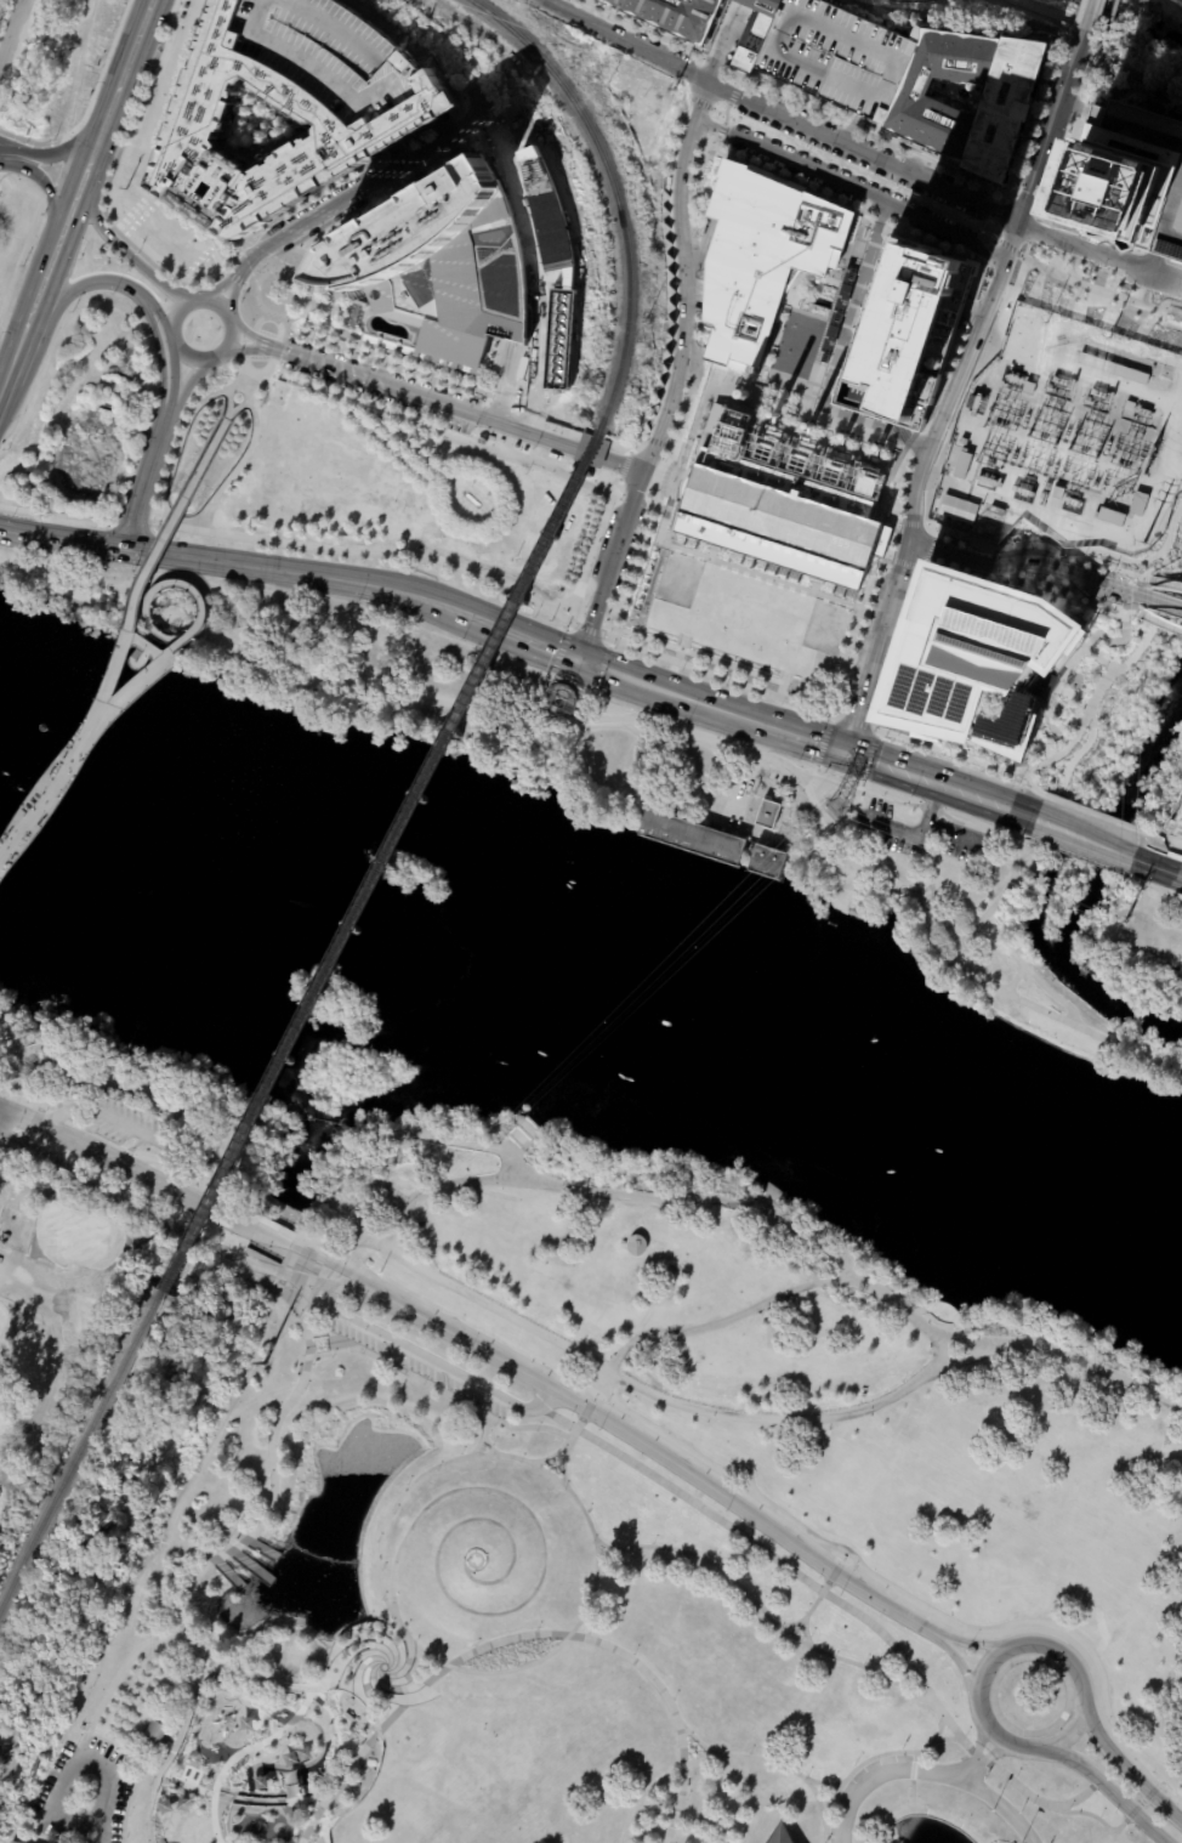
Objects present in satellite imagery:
building: (1178, 2)
road: (1032, 13)
road: (1076, 13)
road: (951, 15)
road: (1086, 15)
building: (669, 16)
road: (1106, 24)
road: (11, 28)
building: (750, 30)
road: (1070, 33)
road: (1104, 34)
road: (1067, 38)
road: (723, 46)
building: (836, 55)
parking lot: (836, 55)
road: (1104, 57)
road: (91, 66)
road: (114, 69)
road: (1127, 70)
road: (436, 73)
road: (101, 74)
building: (433, 74)
road: (441, 75)
road: (740, 81)
power tower: (672, 89)
road: (1061, 89)
road: (125, 96)
road: (733, 96)
road: (792, 96)
road: (691, 100)
road: (70, 101)
road: (701, 101)
road: (700, 103)
building: (921, 104)
road: (1073, 104)
parking lot: (785, 107)
road: (455, 110)
road: (721, 113)
road: (778, 114)
road: (1033, 115)
road: (726, 119)
building: (370, 120)
road: (438, 121)
road: (493, 126)
road: (849, 129)
road: (721, 130)
road: (416, 136)
road: (1067, 136)
road: (450, 140)
road: (717, 142)
road: (394, 149)
road: (705, 149)
road: (52, 155)
road: (784, 157)
road: (6, 159)
parking lot: (858, 161)
parking lot: (913, 163)
road: (436, 165)
road: (720, 165)
road: (405, 166)
parking lot: (792, 170)
road: (126, 176)
parking lot: (849, 176)
park: (5, 178)
road: (670, 181)
building: (1113, 181)
road: (409, 182)
road: (69, 183)
road: (397, 185)
road: (44, 187)
railway: (613, 192)
road: (354, 193)
road: (1006, 194)
building: (1169, 195)
road: (1002, 199)
road: (1024, 199)
road: (1021, 205)
road: (1040, 209)
road: (176, 211)
road: (882, 211)
road: (998, 212)
road: (869, 221)
road: (877, 223)
road: (939, 226)
road: (886, 227)
road: (527, 231)
park: (175, 232)
parking lot: (931, 232)
power tower: (983, 232)
road: (1034, 232)
road: (991, 236)
road: (318, 238)
road: (220, 239)
road: (995, 239)
road: (704, 244)
road: (1004, 244)
road: (1084, 249)
road: (1012, 250)
road: (1081, 253)
road: (987, 254)
road: (153, 256)
building: (761, 256)
road: (64, 259)
road: (130, 259)
building: (553, 259)
road: (1157, 261)
road: (1076, 267)
building: (434, 268)
road: (223, 271)
street lamp: (1040, 277)
building: (790, 278)
road: (235, 279)
road: (974, 279)
road: (1073, 279)
road: (1150, 280)
road: (29, 285)
road: (123, 285)
road: (1086, 288)
road: (217, 290)
road: (1146, 295)
road: (694, 296)
road: (795, 296)
road: (684, 297)
road: (62, 299)
road: (229, 299)
road: (1167, 302)
road: (1143, 304)
road: (250, 306)
road: (966, 306)
road: (779, 308)
road: (973, 310)
road: (860, 311)
road: (1170, 311)
road: (803, 313)
road: (160, 317)
building: (834, 317)
power tower: (1046, 322)
road: (1165, 324)
road: (268, 327)
building: (905, 331)
road: (245, 333)
road: (29, 335)
road: (772, 336)
power tower: (1108, 339)
road: (989, 341)
road: (262, 345)
road: (840, 346)
road: (239, 350)
road: (970, 355)
road: (379, 357)
parking lot: (275, 358)
road: (201, 362)
road: (257, 362)
road: (158, 364)
road: (534, 364)
road: (712, 365)
road: (718, 365)
road: (8, 369)
parking lot: (376, 369)
building: (1114, 369)
road: (758, 370)
road: (734, 373)
road: (944, 374)
road: (172, 375)
road: (1092, 375)
road: (722, 376)
road: (756, 376)
road: (248, 378)
road: (785, 380)
road: (504, 381)
road: (758, 381)
road: (188, 382)
road: (765, 384)
building: (1029, 389)
chimney: (744, 395)
road: (773, 397)
parking lot: (385, 398)
road: (485, 399)
road: (244, 401)
road: (487, 403)
road: (755, 404)
building: (1131, 406)
road: (453, 407)
road: (500, 407)
road: (801, 407)
road: (749, 412)
chimney: (774, 414)
road: (227, 415)
road: (169, 416)
road: (481, 416)
park: (100, 418)
road: (695, 419)
road: (705, 423)
road: (795, 425)
chimney: (809, 426)
road: (898, 426)
road: (434, 427)
road: (411, 431)
road: (477, 433)
building: (482, 435)
road: (825, 436)
road: (908, 436)
road: (579, 437)
chimney: (843, 437)
power substation: (1065, 438)
railway: (910, 440)
road: (408, 441)
road: (655, 442)
road: (437, 446)
road: (177, 447)
road: (669, 447)
road: (811, 447)
chimney: (876, 448)
road: (629, 452)
road: (155, 457)
road: (890, 457)
road: (677, 458)
building: (962, 465)
road: (624, 466)
road: (234, 467)
road: (659, 476)
road: (894, 480)
road: (670, 481)
power tower: (1180, 481)
road: (672, 482)
railway: (887, 483)
road: (678, 484)
road: (681, 484)
building: (684, 486)
road: (687, 487)
road: (927, 488)
park: (381, 490)
road: (913, 490)
building: (1058, 494)
building: (1044, 498)
road: (1004, 501)
building: (783, 503)
building: (1138, 505)
road: (667, 507)
building: (959, 510)
road: (57, 517)
road: (136, 517)
road: (877, 517)
building: (1109, 517)
road: (491, 518)
road: (886, 520)
road: (132, 522)
road: (898, 523)
road: (911, 523)
road: (160, 532)
road: (937, 534)
road: (24, 535)
road: (595, 541)
parking lot: (604, 541)
parking lot: (630, 541)
power tower: (1143, 543)
road: (87, 545)
road: (714, 546)
road: (932, 548)
traffic signals: (125, 550)
road: (153, 552)
road: (371, 552)
road: (711, 555)
road: (1178, 555)
road: (150, 557)
road: (1172, 557)
road: (888, 558)
road: (1119, 558)
road: (1163, 558)
road: (1138, 561)
road: (610, 562)
road: (920, 562)
road: (1165, 562)
road: (902, 563)
road: (1027, 563)
road: (0, 565)
road: (250, 566)
road: (1158, 567)
road: (1116, 568)
road: (746, 572)
road: (1147, 573)
road: (816, 579)
road: (870, 580)
road: (1032, 580)
road: (136, 582)
road: (1142, 583)
road: (1164, 583)
road: (812, 588)
road: (1023, 588)
road: (114, 589)
parking lot: (1099, 594)
road: (1138, 595)
road: (147, 597)
parking lot: (876, 597)
road: (1161, 602)
road: (561, 605)
road: (1135, 607)
road: (112, 611)
road: (144, 614)
road: (1124, 616)
road: (478, 617)
road: (572, 618)
road: (143, 619)
road: (1158, 622)
road: (900, 623)
road: (410, 624)
road: (1124, 628)
road: (248, 630)
road: (590, 630)
road: (880, 631)
road: (152, 633)
road: (188, 633)
road: (150, 634)
road: (1097, 634)
road: (683, 636)
road: (1123, 639)
road: (178, 640)
road: (318, 641)
road: (1109, 641)
road: (610, 643)
road: (142, 647)
road: (894, 648)
road: (1136, 650)
road: (559, 653)
road: (677, 653)
road: (698, 654)
traffic signals: (580, 656)
road: (1097, 657)
parking lot: (858, 658)
building: (979, 663)
road: (132, 665)
road: (1067, 665)
road: (601, 669)
road: (785, 673)
road: (550, 676)
road: (718, 677)
road: (1036, 680)
road: (672, 686)
road: (780, 688)
road: (392, 690)
road: (592, 692)
road: (1062, 692)
road: (1085, 702)
road: (882, 703)
road: (888, 707)
road: (104, 708)
road: (904, 716)
road: (830, 718)
road: (1032, 718)
road: (613, 722)
road: (854, 722)
road: (805, 732)
road: (877, 733)
road: (922, 733)
road: (848, 735)
road: (966, 736)
road: (822, 743)
road: (737, 745)
traffic signals: (845, 747)
road: (869, 758)
road: (987, 765)
road: (1025, 766)
park: (615, 769)
road: (814, 770)
road: (745, 775)
road: (941, 781)
road: (859, 784)
road: (1030, 784)
road: (790, 795)
road: (898, 803)
power tower: (837, 805)
road: (1093, 813)
building: (768, 815)
road: (1175, 827)
building: (1180, 827)
road: (822, 829)
road: (948, 829)
building: (691, 834)
road: (1085, 834)
road: (917, 837)
road: (1161, 839)
road: (1076, 856)
building: (767, 860)
road: (1158, 860)
railway: (380, 862)
road: (932, 867)
road: (1013, 881)
road: (1153, 886)
road: (922, 889)
road: (916, 897)
power tower: (1121, 921)
road: (972, 931)
park: (1136, 940)
river: (590, 972)
road: (1015, 979)
road: (1063, 1020)
road: (27, 1078)
road: (143, 1088)
road: (32, 1104)
road: (40, 1110)
road: (64, 1110)
road: (63, 1112)
road: (19, 1117)
road: (34, 1122)
parking lot: (124, 1124)
road: (129, 1127)
road: (528, 1127)
road: (538, 1132)
road: (28, 1135)
road: (23, 1144)
road: (527, 1144)
road: (476, 1145)
road: (115, 1146)
road: (11, 1152)
road: (517, 1153)
road: (172, 1166)
road: (172, 1168)
road: (147, 1178)
road: (439, 1185)
road: (208, 1190)
pier: (772, 1190)
road: (118, 1197)
road: (243, 1210)
road: (765, 1213)
road: (277, 1227)
road: (324, 1232)
road: (272, 1238)
park: (90, 1241)
road: (308, 1243)
building: (636, 1247)
road: (322, 1253)
road: (319, 1258)
road: (301, 1263)
road: (256, 1265)
road: (284, 1272)
road: (353, 1275)
road: (343, 1291)
road: (944, 1311)
road: (726, 1317)
park: (55, 1319)
road: (307, 1321)
park: (0, 1331)
road: (308, 1342)
road: (424, 1356)
park: (734, 1356)
road: (1070, 1356)
parking lot: (414, 1360)
power tower: (262, 1363)
road: (603, 1383)
road: (595, 1391)
road: (646, 1391)
road: (461, 1401)
road: (587, 1408)
road: (557, 1417)
road: (275, 1420)
road: (483, 1434)
park: (0, 1435)
road: (477, 1445)
road: (564, 1446)
railway: (81, 1451)
road: (563, 1464)
road: (676, 1465)
road: (741, 1471)
park: (115, 1492)
road: (750, 1498)
road: (246, 1539)
road: (239, 1546)
pier: (258, 1547)
road: (232, 1550)
road: (845, 1553)
road: (223, 1555)
road: (604, 1555)
road: (214, 1560)
pier: (249, 1564)
road: (839, 1564)
pier: (225, 1570)
road: (832, 1573)
road: (188, 1581)
road: (824, 1587)
power tower: (124, 1589)
road: (762, 1612)
road: (806, 1616)
road: (868, 1621)
road: (791, 1624)
road: (399, 1626)
road: (351, 1629)
park: (491, 1629)
road: (409, 1633)
road: (970, 1643)
road: (1023, 1643)
road: (633, 1662)
road: (960, 1662)
fountain: (382, 1665)
road: (206, 1671)
road: (256, 1677)
road: (348, 1685)
park: (1029, 1695)
road: (410, 1697)
road: (181, 1726)
road: (938, 1729)
building: (158, 1733)
road: (337, 1736)
road: (697, 1740)
road: (937, 1740)
road: (979, 1743)
road: (377, 1747)
road: (123, 1751)
road: (243, 1752)
road: (993, 1754)
road: (717, 1756)
road: (914, 1757)
road: (301, 1763)
road: (72, 1767)
road: (1124, 1767)
road: (1159, 1768)
road: (913, 1769)
road: (927, 1771)
road: (970, 1773)
road: (341, 1775)
road: (848, 1776)
road: (1153, 1780)
road: (822, 1784)
road: (1106, 1786)
road: (1158, 1787)
parking lot: (83, 1793)
road: (911, 1794)
road: (1074, 1799)
road: (127, 1801)
road: (243, 1801)
road: (1141, 1803)
road: (922, 1810)
flagpole: (990, 1813)
road: (1120, 1826)
road: (891, 1831)
road: (306, 1832)
building: (779, 1836)
road: (96, 1837)
road: (818, 1839)
building: (12, 1842)
flagpole: (1019, 1842)

